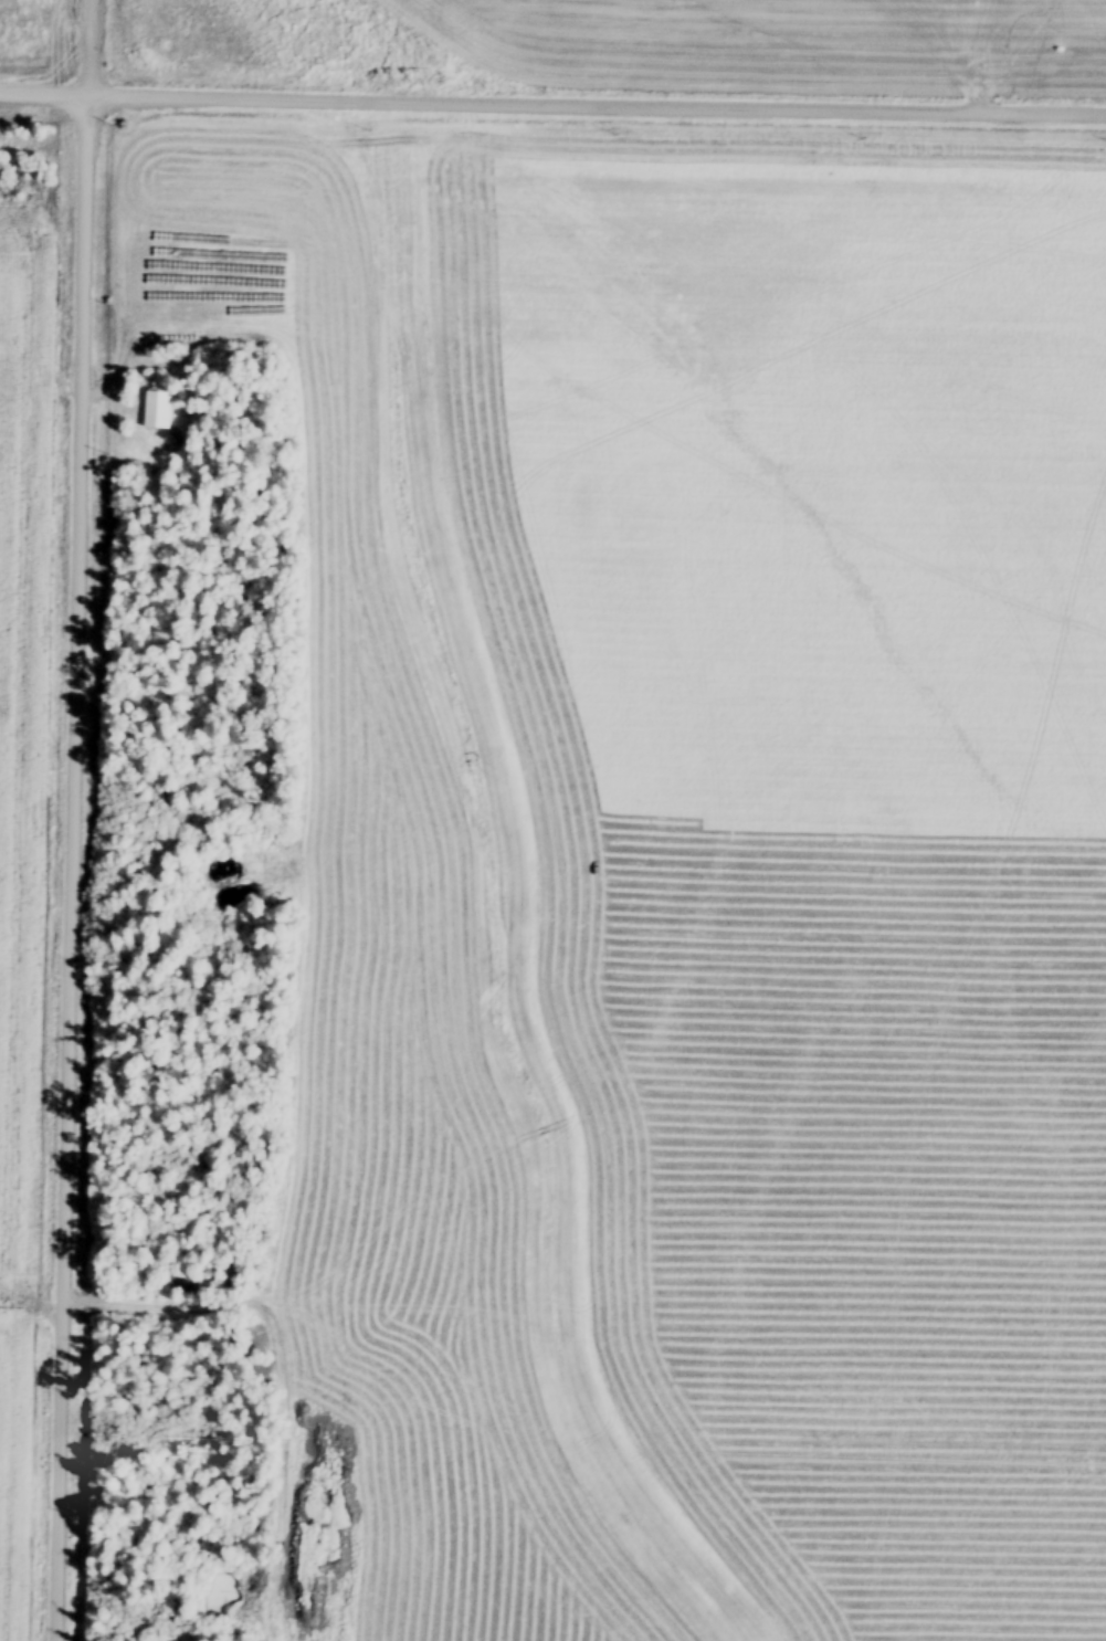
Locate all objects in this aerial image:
road: (552, 102)
building: (158, 411)
road: (196, 820)

